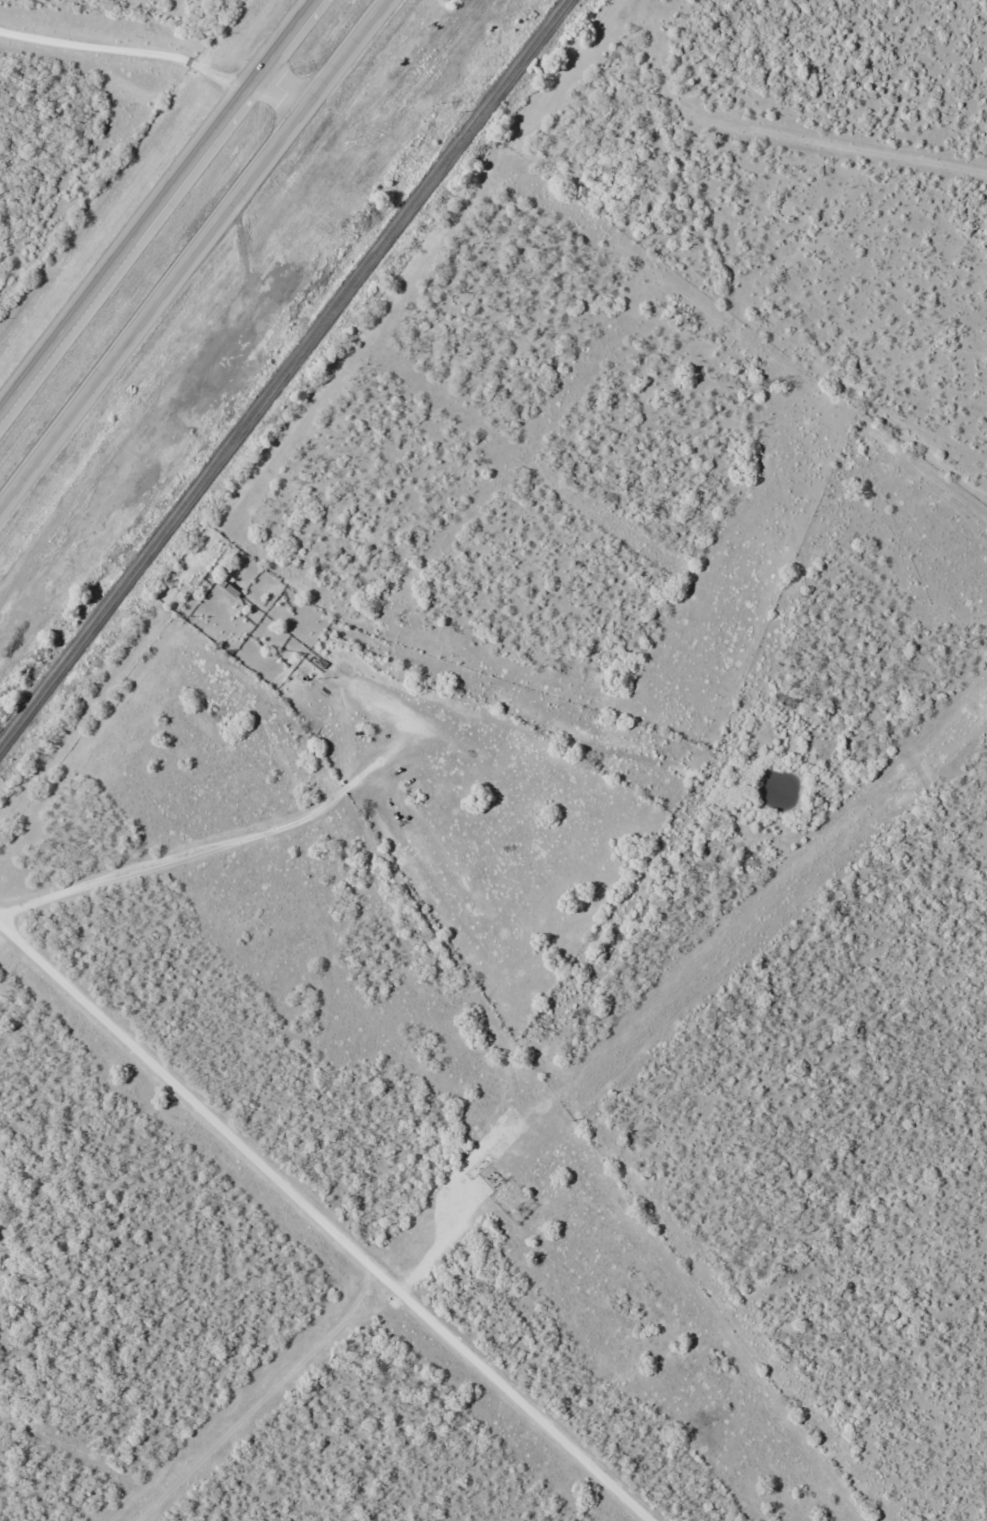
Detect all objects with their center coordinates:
road: (153, 62)
road: (161, 210)
road: (196, 255)
railway: (284, 373)
road: (321, 1222)

